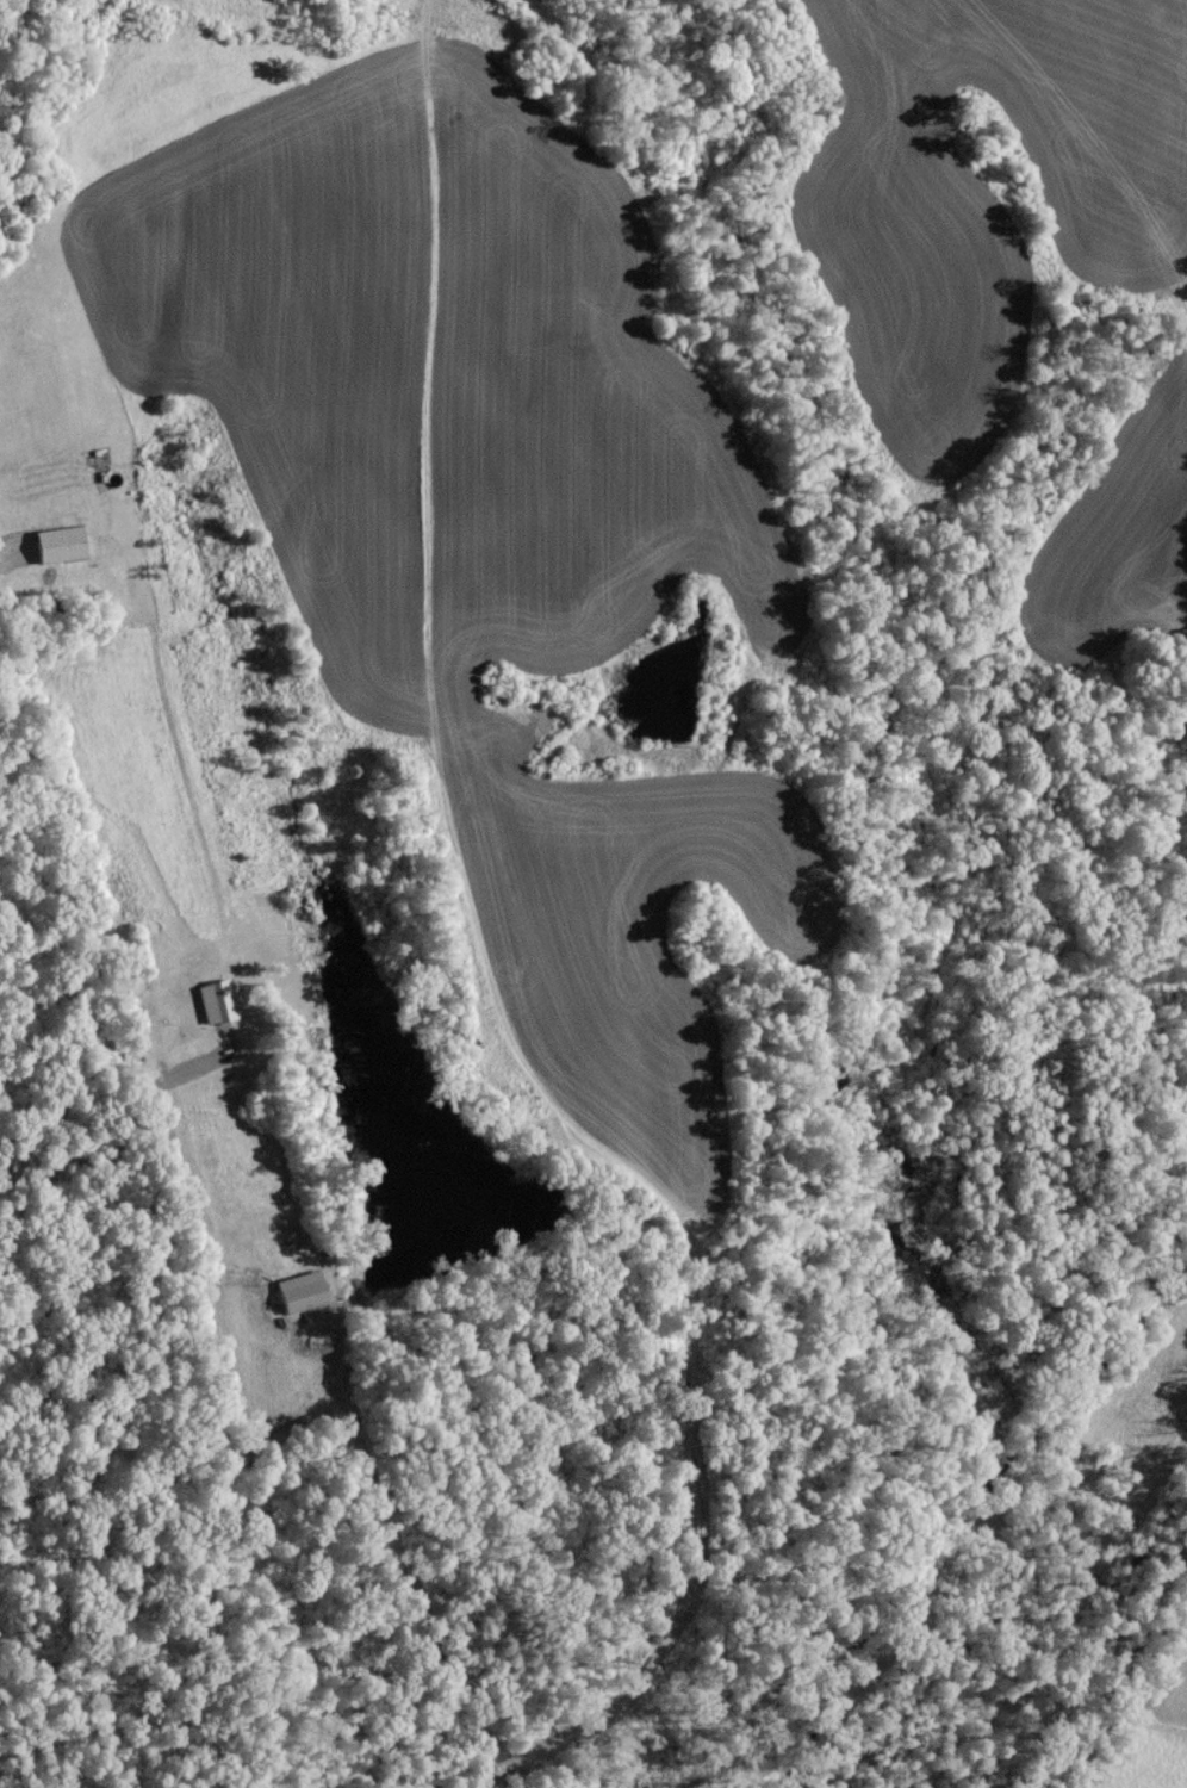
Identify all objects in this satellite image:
building: (64, 541)
road: (4, 554)
road: (116, 1128)
building: (305, 1289)

